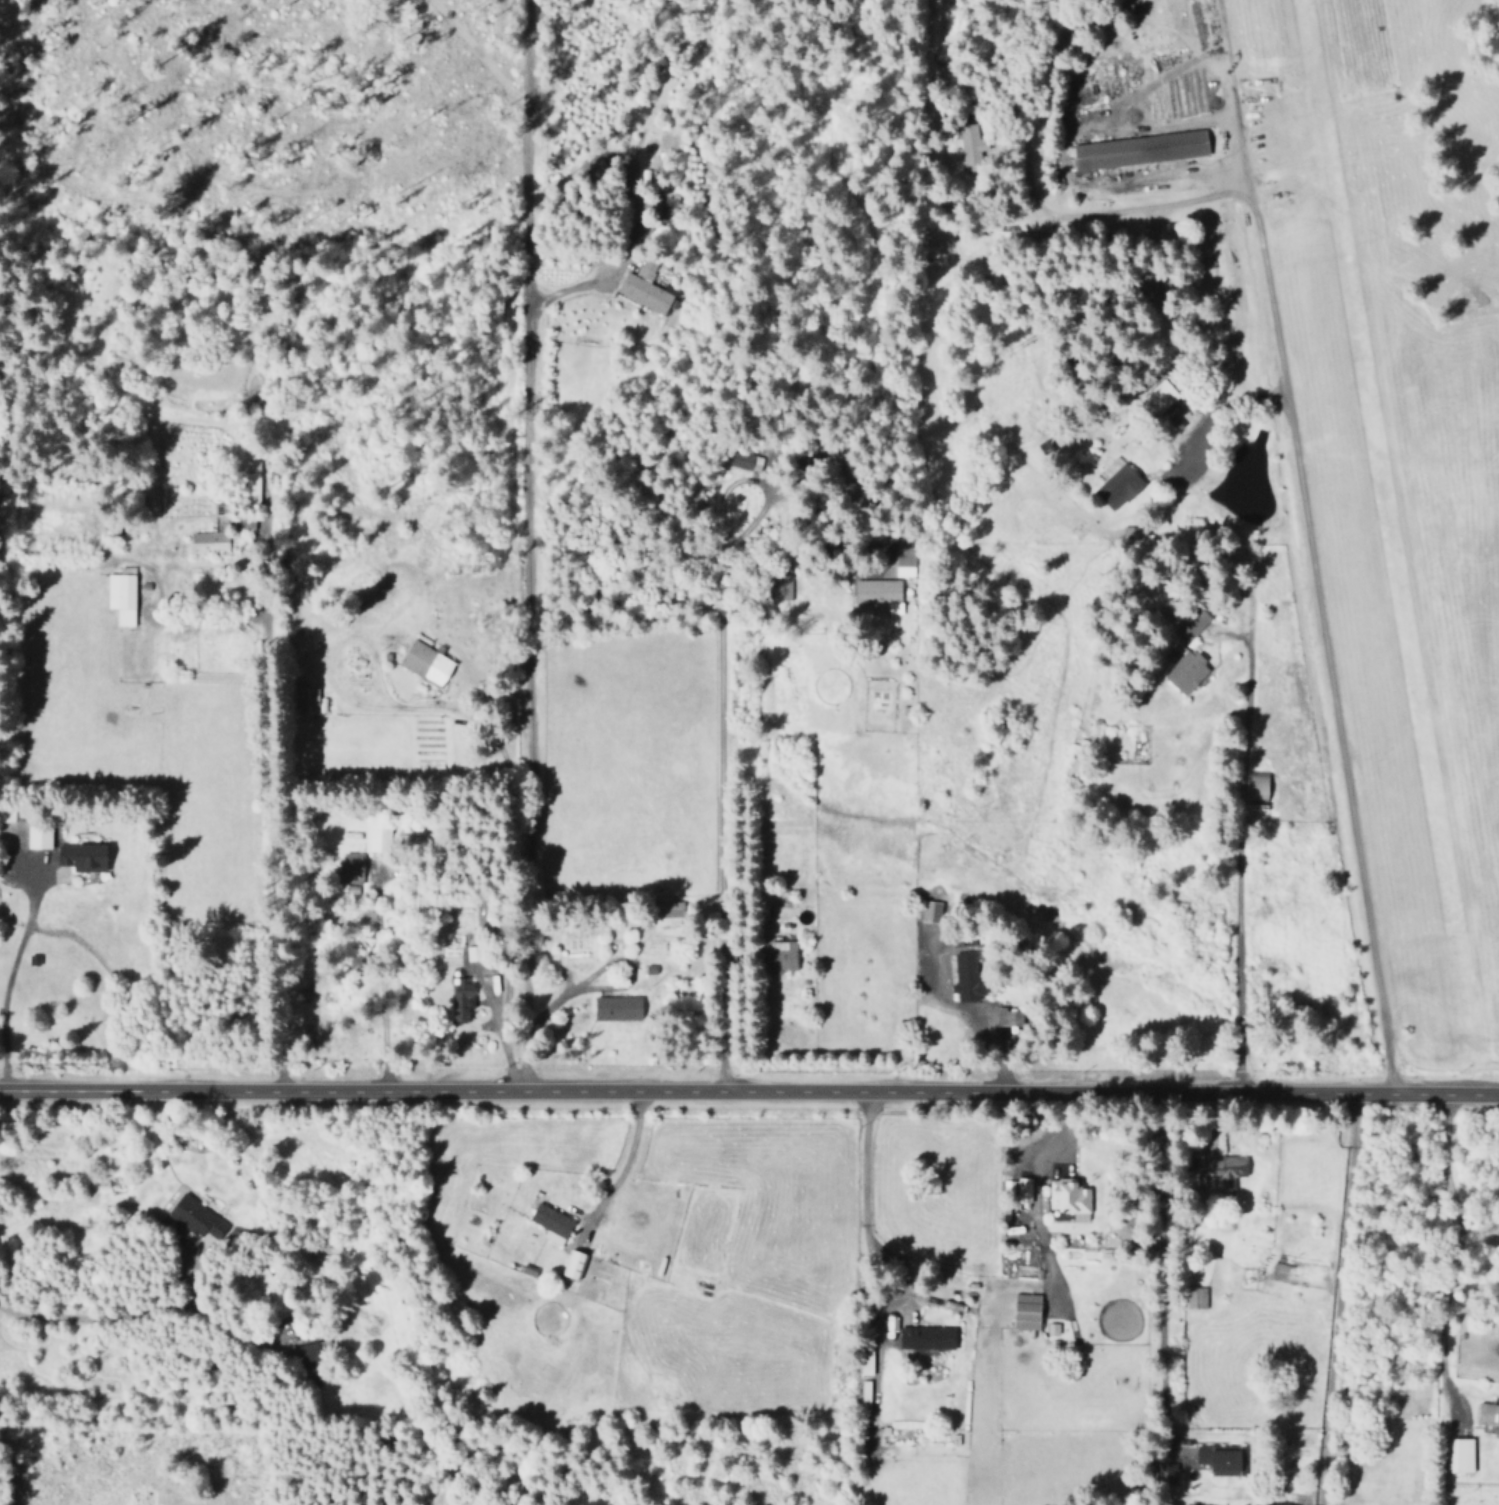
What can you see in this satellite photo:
building: (970, 146)
airport terminal: (1135, 151)
building: (1135, 151)
building: (644, 288)
building: (1161, 396)
building: (744, 460)
building: (249, 482)
building: (1117, 487)
road: (1215, 501)
airport runway: (1415, 501)
airport runway: (1383, 516)
building: (246, 523)
building: (213, 532)
building: (903, 561)
airport runway: (1321, 577)
building: (782, 586)
building: (878, 595)
building: (121, 598)
building: (1191, 626)
building: (426, 662)
building: (1187, 673)
building: (306, 701)
road: (716, 758)
building: (1257, 785)
road: (274, 802)
building: (376, 829)
building: (38, 835)
building: (83, 857)
building: (352, 867)
building: (931, 910)
building: (669, 912)
building: (780, 956)
building: (966, 977)
building: (462, 998)
building: (617, 1007)
building: (1008, 1016)
road: (749, 1095)
building: (1228, 1170)
building: (1069, 1197)
road: (863, 1200)
building: (195, 1216)
building: (551, 1222)
building: (573, 1262)
road: (1172, 1275)
building: (271, 1291)
building: (1194, 1297)
road: (1335, 1300)
road: (1444, 1301)
building: (1026, 1311)
road: (136, 1317)
building: (926, 1338)
building: (305, 1353)
building: (865, 1360)
building: (1487, 1417)
building: (1459, 1454)
building: (1220, 1458)
building: (1166, 1471)

